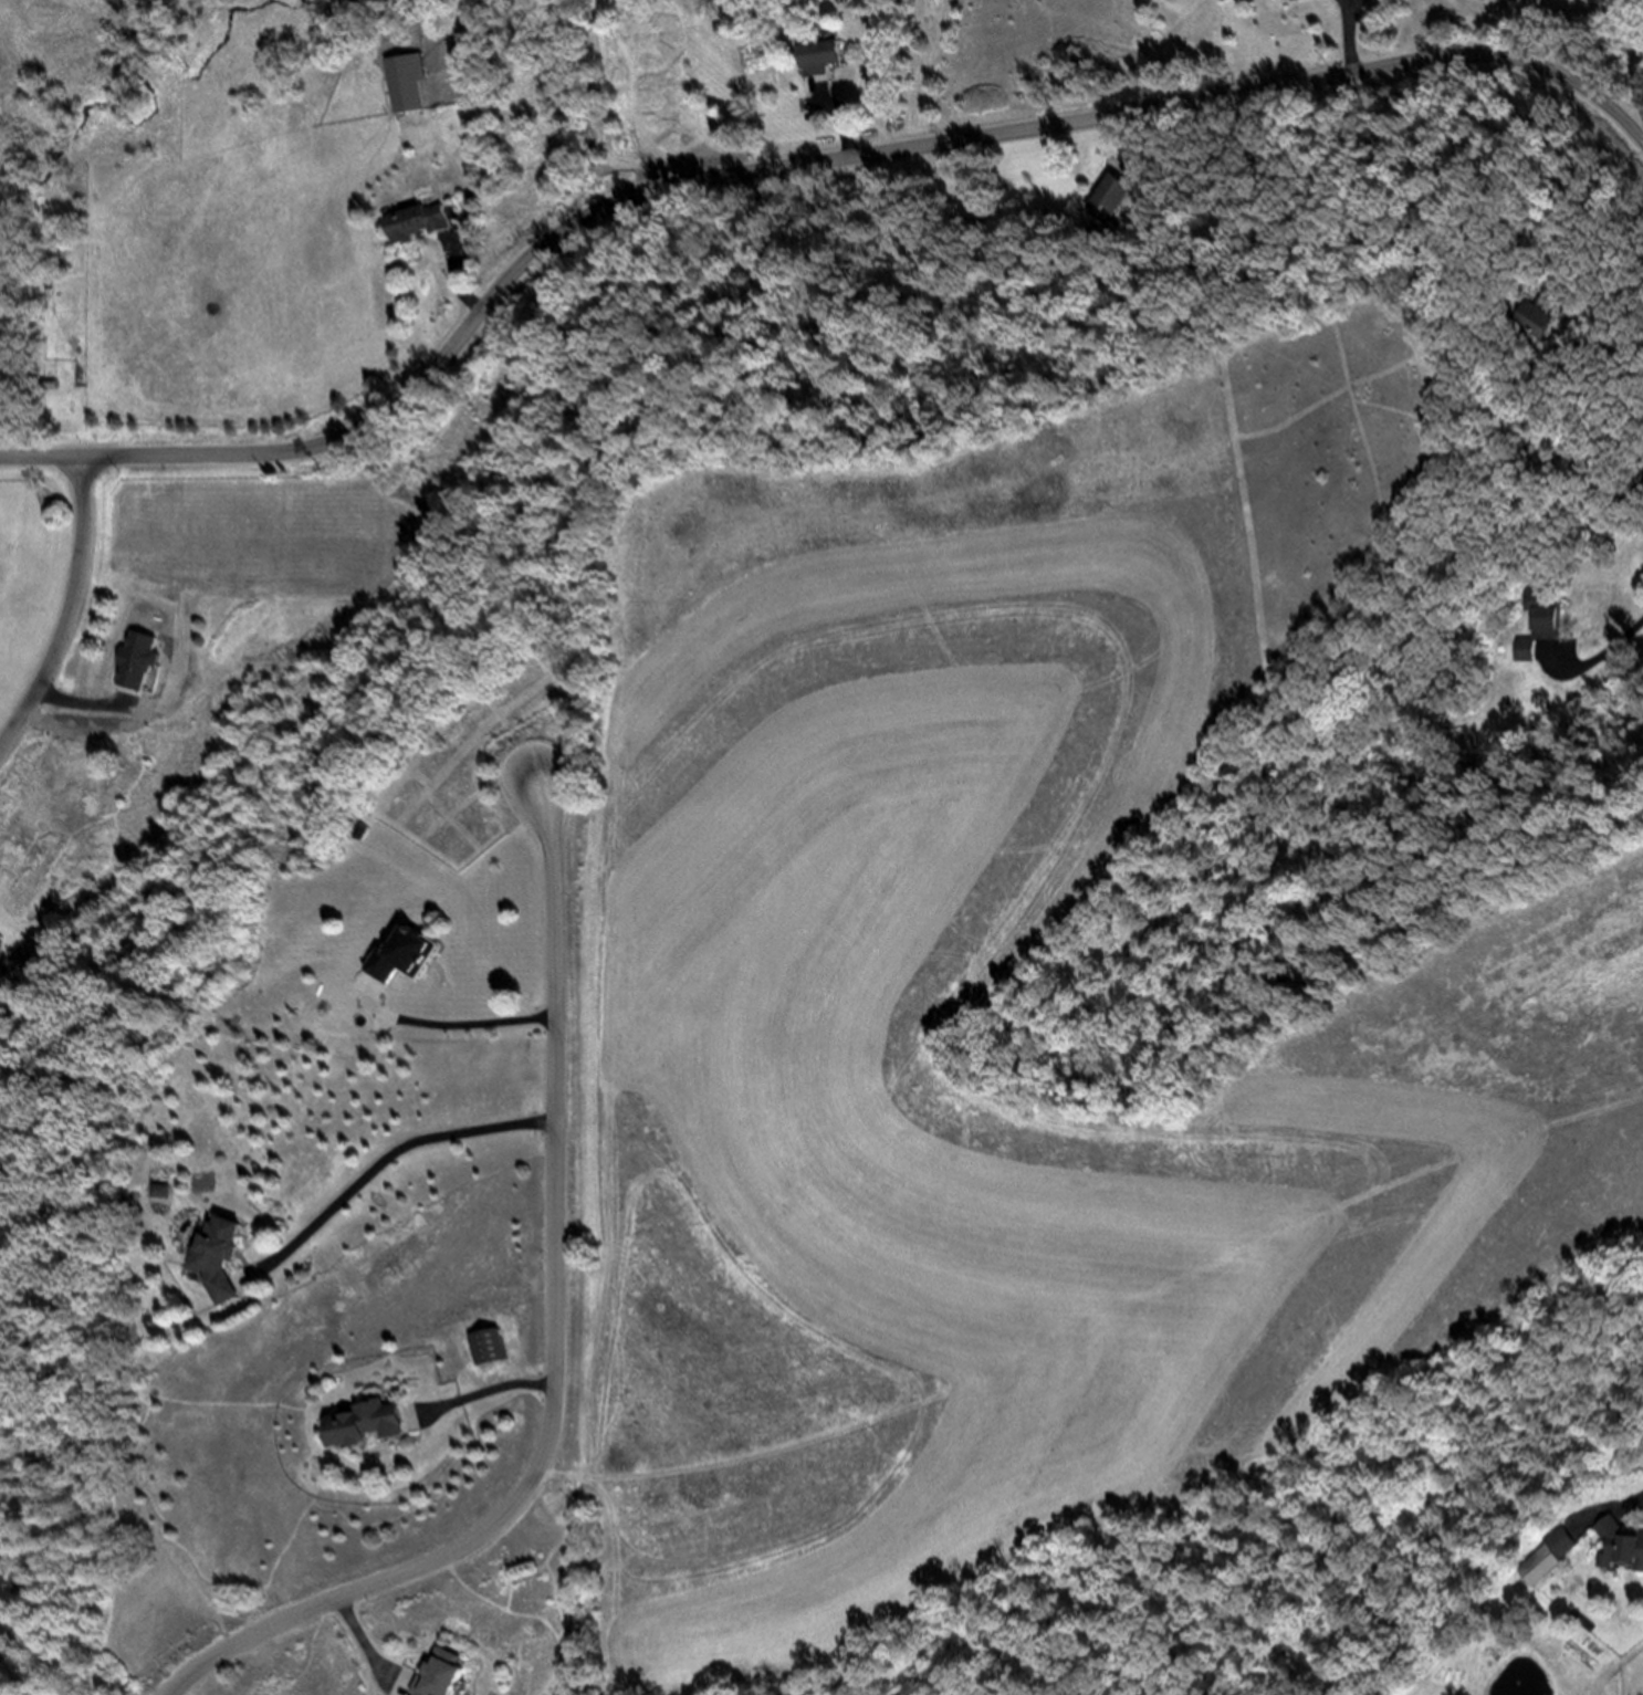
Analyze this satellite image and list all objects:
road: (1421, 27)
road: (1356, 32)
building: (823, 60)
building: (410, 87)
road: (846, 115)
road: (1155, 134)
road: (792, 164)
building: (1105, 195)
building: (1116, 200)
building: (940, 202)
building: (967, 216)
building: (420, 228)
road: (461, 280)
building: (1540, 326)
road: (1600, 425)
road: (69, 614)
building: (1553, 618)
road: (1618, 645)
building: (1529, 655)
building: (0, 935)
building: (407, 961)
road: (456, 1026)
road: (385, 1166)
building: (164, 1193)
building: (220, 1264)
road: (558, 1348)
building: (493, 1350)
road: (486, 1390)
building: (367, 1429)
road: (1610, 1508)
building: (1620, 1546)
building: (1545, 1557)
road: (373, 1645)
building: (444, 1677)

